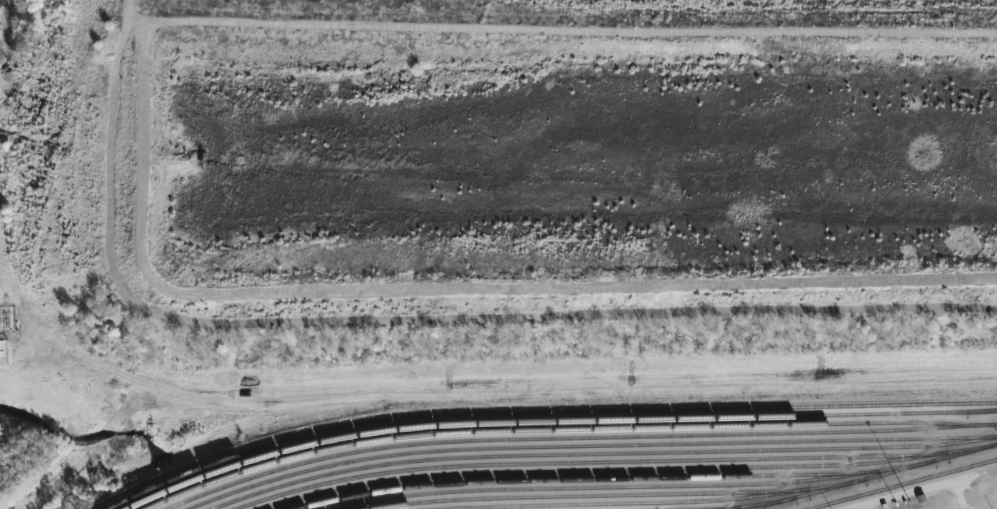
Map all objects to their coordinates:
road: (510, 403)
railway: (976, 410)
railway: (542, 412)
railway: (553, 420)
railway: (564, 428)
railway: (568, 437)
railway: (588, 445)
railway: (600, 451)
railway: (608, 461)
railway: (605, 470)
railway: (871, 475)
railway: (605, 477)
railway: (902, 483)
railway: (597, 486)
railway: (602, 494)
railway: (610, 502)
railway: (756, 502)
railway: (718, 507)

